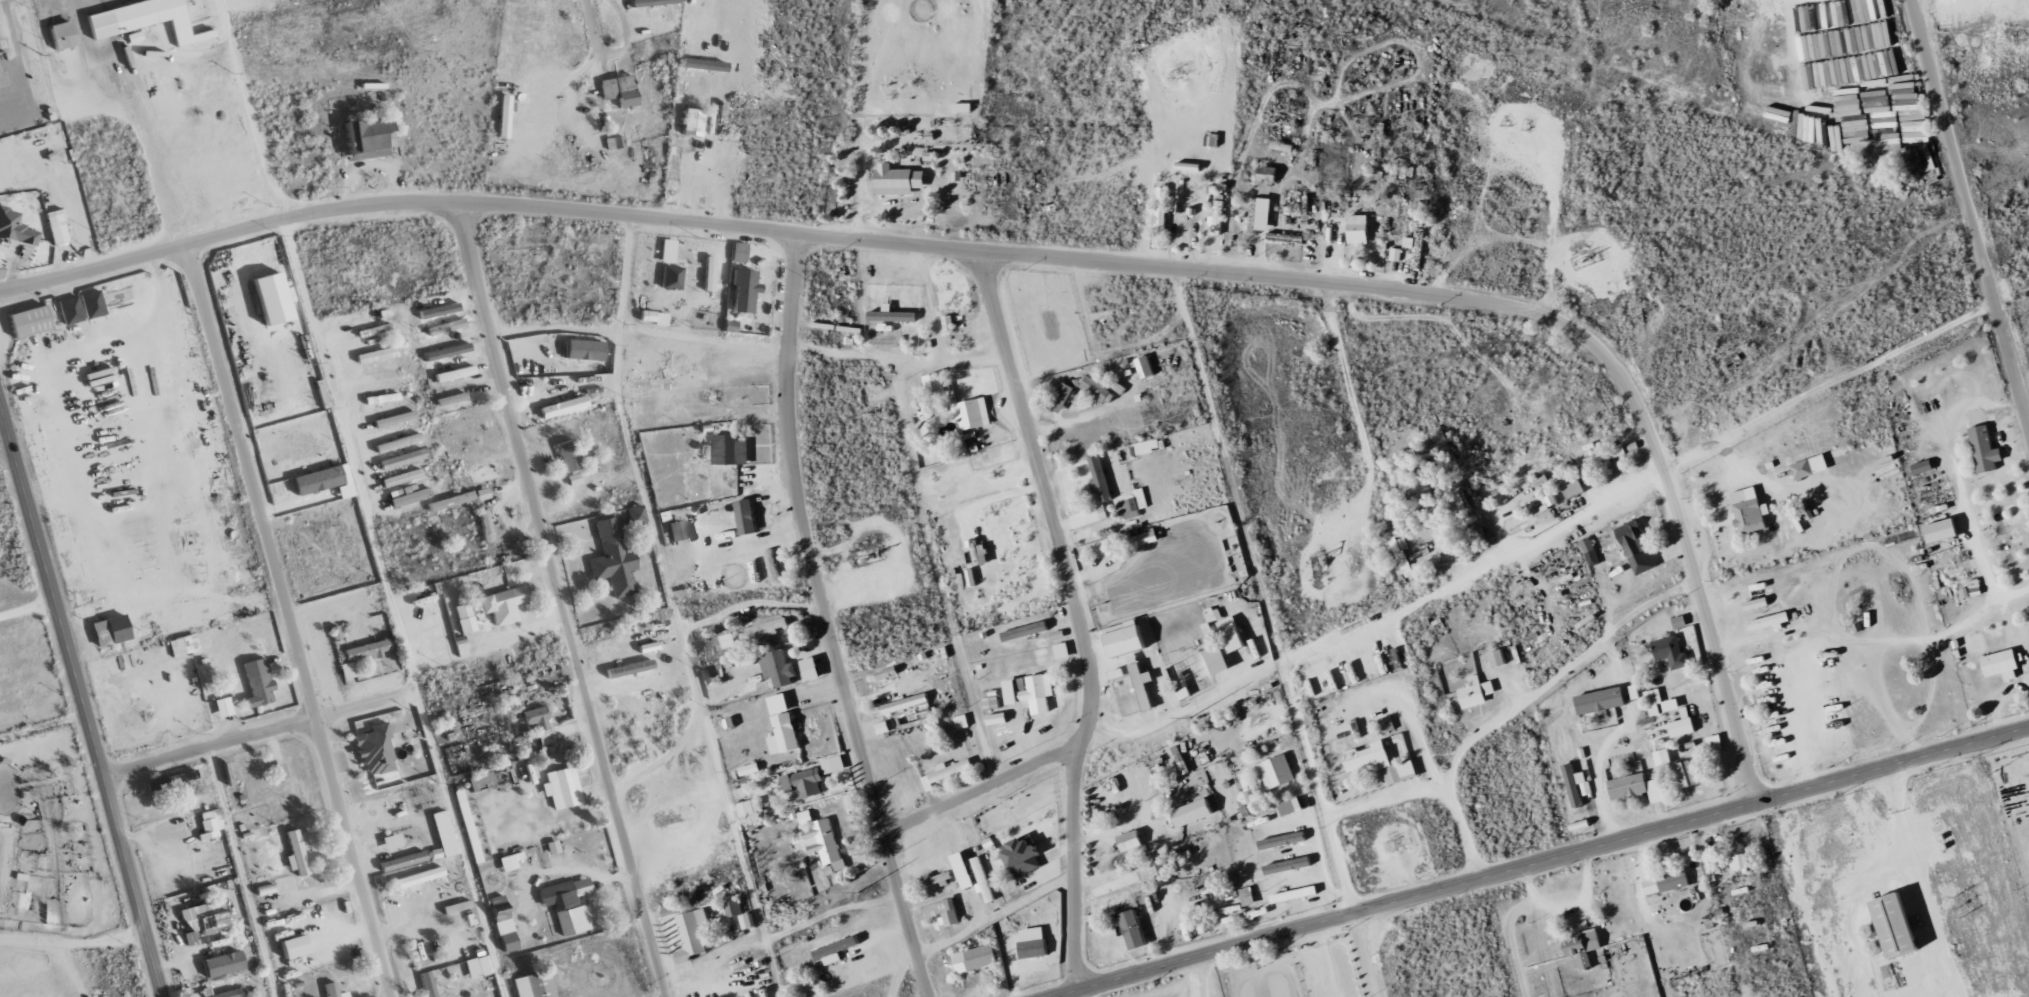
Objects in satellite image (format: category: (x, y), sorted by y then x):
building: (653, 2)
road: (83, 3)
building: (144, 19)
road: (590, 25)
building: (62, 34)
building: (2, 79)
building: (620, 90)
road: (250, 109)
road: (136, 116)
building: (504, 116)
building: (693, 122)
building: (370, 136)
building: (614, 142)
building: (1268, 174)
road: (702, 177)
building: (900, 179)
road: (1971, 209)
building: (1162, 210)
building: (1260, 215)
building: (1217, 217)
building: (15, 227)
building: (57, 227)
building: (1359, 229)
building: (1416, 248)
building: (668, 251)
building: (738, 252)
building: (1395, 254)
road: (1041, 255)
building: (709, 273)
building: (672, 277)
building: (742, 290)
building: (92, 304)
building: (70, 310)
building: (438, 310)
building: (892, 314)
building: (30, 321)
building: (948, 322)
building: (446, 327)
building: (585, 349)
building: (447, 352)
building: (378, 354)
building: (1146, 367)
building: (676, 368)
building: (454, 373)
building: (550, 374)
building: (937, 383)
building: (382, 384)
road: (1829, 384)
building: (1118, 387)
building: (1097, 388)
building: (1062, 396)
building: (385, 398)
building: (459, 400)
building: (564, 407)
building: (974, 413)
building: (395, 419)
road: (3, 436)
building: (398, 442)
building: (1147, 446)
building: (729, 449)
building: (1985, 449)
building: (568, 455)
building: (1605, 457)
building: (402, 459)
building: (1810, 466)
building: (1923, 467)
building: (486, 473)
building: (401, 478)
building: (1100, 479)
building: (318, 480)
building: (1572, 484)
road: (1817, 485)
building: (345, 491)
building: (482, 494)
building: (1550, 496)
building: (409, 497)
building: (451, 501)
building: (1133, 502)
building: (1750, 510)
building: (635, 514)
building: (747, 516)
building: (1090, 516)
building: (485, 525)
building: (677, 530)
building: (1943, 530)
building: (1146, 538)
building: (1632, 539)
building: (1587, 544)
building: (613, 559)
building: (1644, 562)
road: (559, 601)
building: (503, 605)
road: (26, 609)
building: (1213, 614)
road: (1080, 616)
building: (465, 618)
road: (288, 619)
road: (827, 619)
building: (1680, 621)
building: (1771, 621)
building: (766, 627)
road: (1361, 628)
building: (1025, 631)
building: (102, 633)
building: (1233, 634)
building: (1127, 638)
building: (183, 645)
building: (368, 650)
building: (1062, 650)
building: (1671, 652)
building: (1498, 658)
road: (1587, 658)
building: (1219, 660)
building: (2001, 662)
building: (629, 669)
building: (779, 669)
building: (347, 670)
building: (258, 682)
building: (1143, 682)
building: (1030, 688)
building: (1476, 692)
building: (1602, 700)
building: (1653, 701)
building: (992, 702)
road: (81, 703)
building: (906, 703)
building: (1671, 705)
building: (223, 707)
building: (914, 713)
building: (536, 718)
building: (998, 719)
road: (1160, 721)
building: (1682, 724)
road: (42, 725)
building: (783, 725)
building: (1386, 725)
road: (250, 733)
building: (544, 737)
building: (1714, 743)
building: (375, 750)
building: (1664, 757)
building: (1381, 763)
building: (834, 764)
building: (279, 772)
building: (946, 772)
building: (1278, 772)
building: (1685, 775)
building: (478, 782)
building: (803, 783)
building: (1576, 785)
building: (561, 787)
building: (1637, 787)
road: (986, 790)
road: (1385, 798)
road: (1451, 803)
building: (1291, 806)
building: (751, 808)
building: (1194, 812)
building: (805, 817)
building: (210, 823)
building: (466, 823)
building: (444, 834)
building: (1131, 840)
building: (1282, 840)
building: (392, 841)
building: (820, 844)
building: (552, 847)
building: (297, 852)
building: (1024, 856)
road: (1541, 860)
building: (403, 861)
building: (509, 862)
building: (1739, 863)
building: (1158, 865)
building: (1289, 865)
building: (419, 877)
building: (1667, 882)
building: (1117, 884)
building: (272, 887)
building: (1295, 894)
building: (1246, 896)
building: (568, 905)
building: (733, 908)
building: (950, 917)
building: (205, 918)
building: (748, 921)
building: (503, 923)
building: (1897, 928)
building: (1133, 930)
building: (693, 934)
road: (72, 943)
building: (295, 947)
building: (1582, 948)
building: (1034, 949)
building: (836, 950)
road: (1364, 955)
building: (975, 958)
building: (223, 964)
building: (478, 967)
building: (427, 984)
building: (534, 985)
building: (335, 991)
building: (224, 993)

